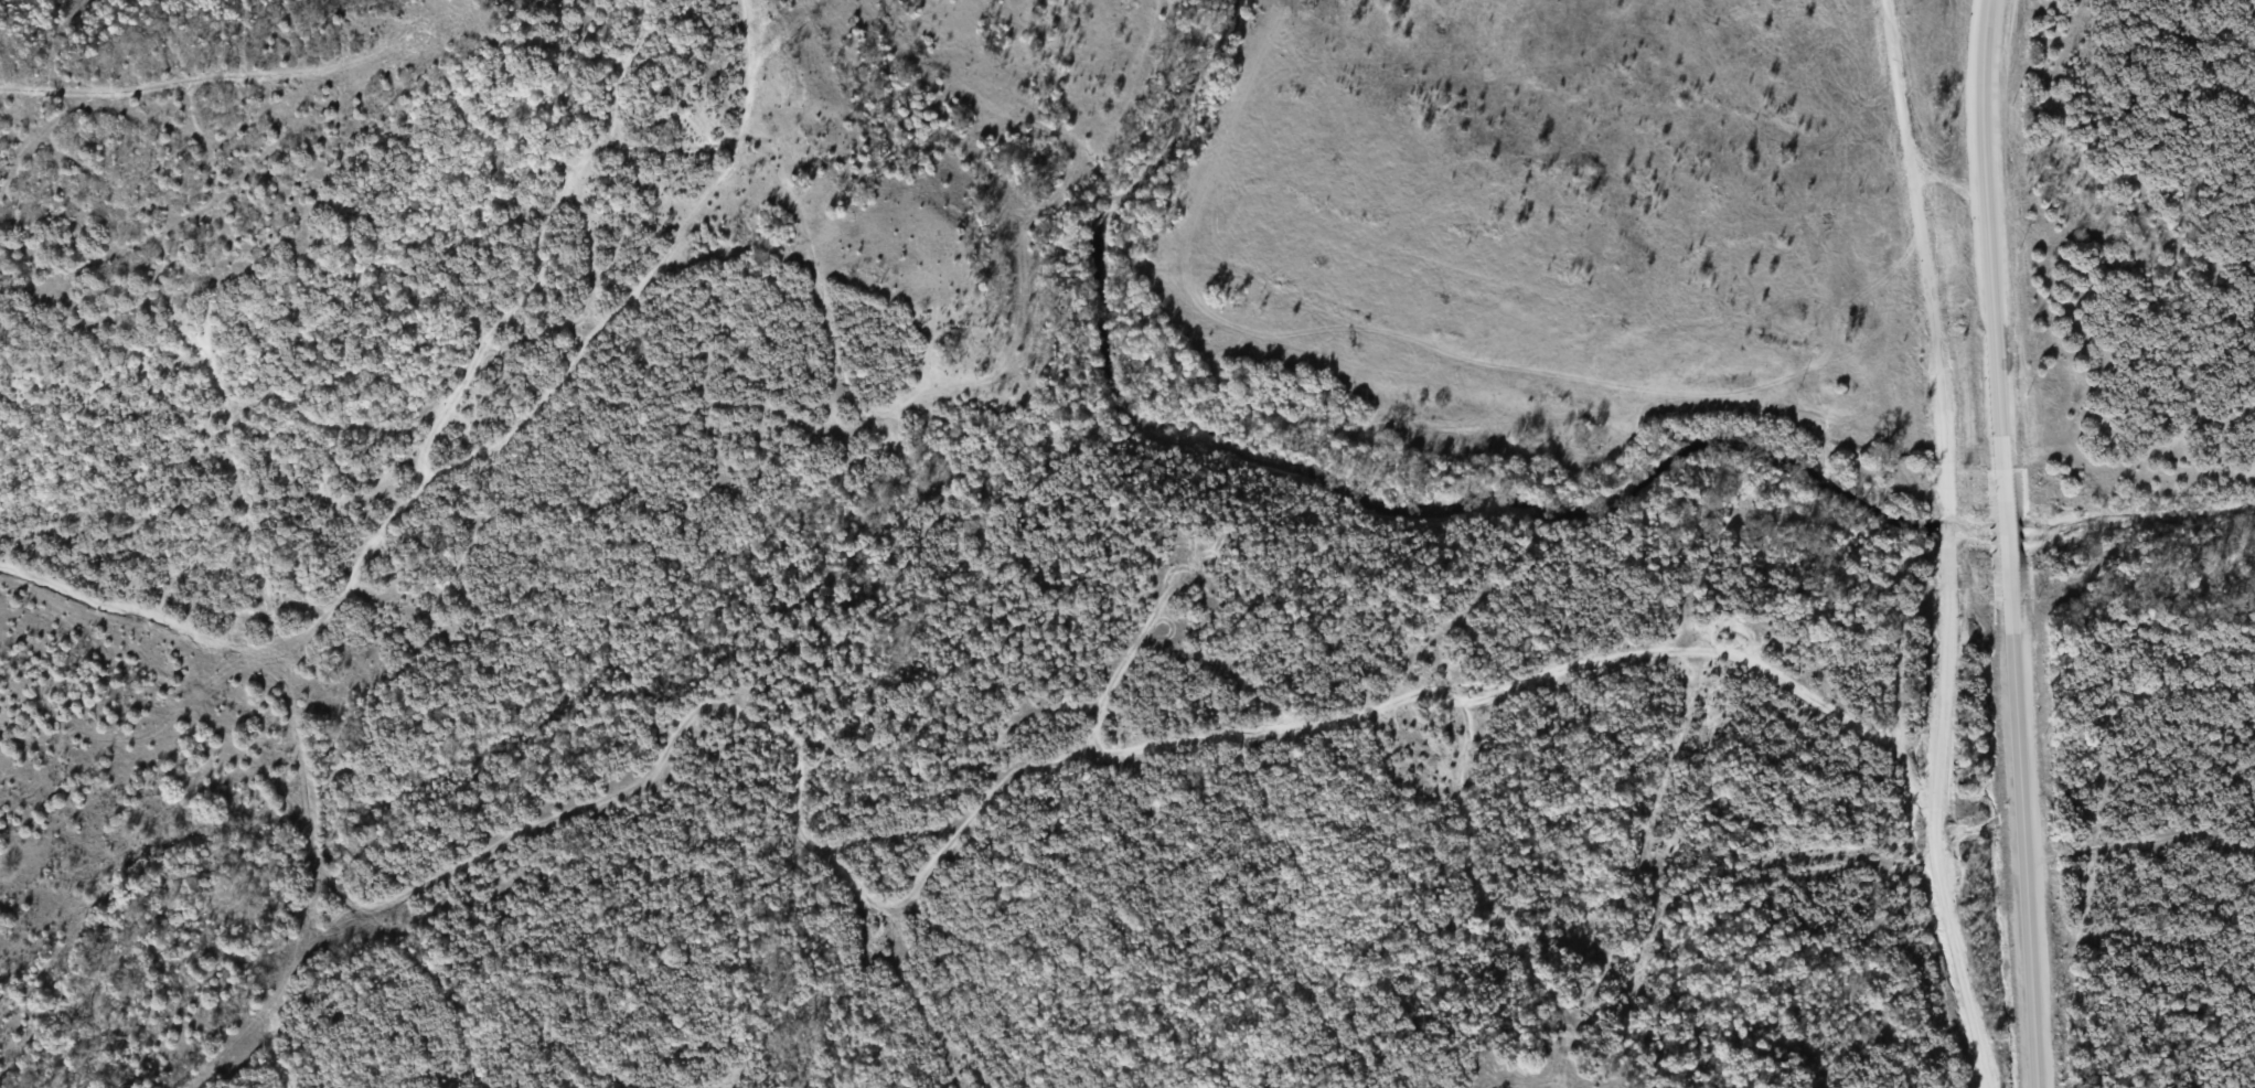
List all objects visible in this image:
road: (2009, 543)
road: (1946, 545)

